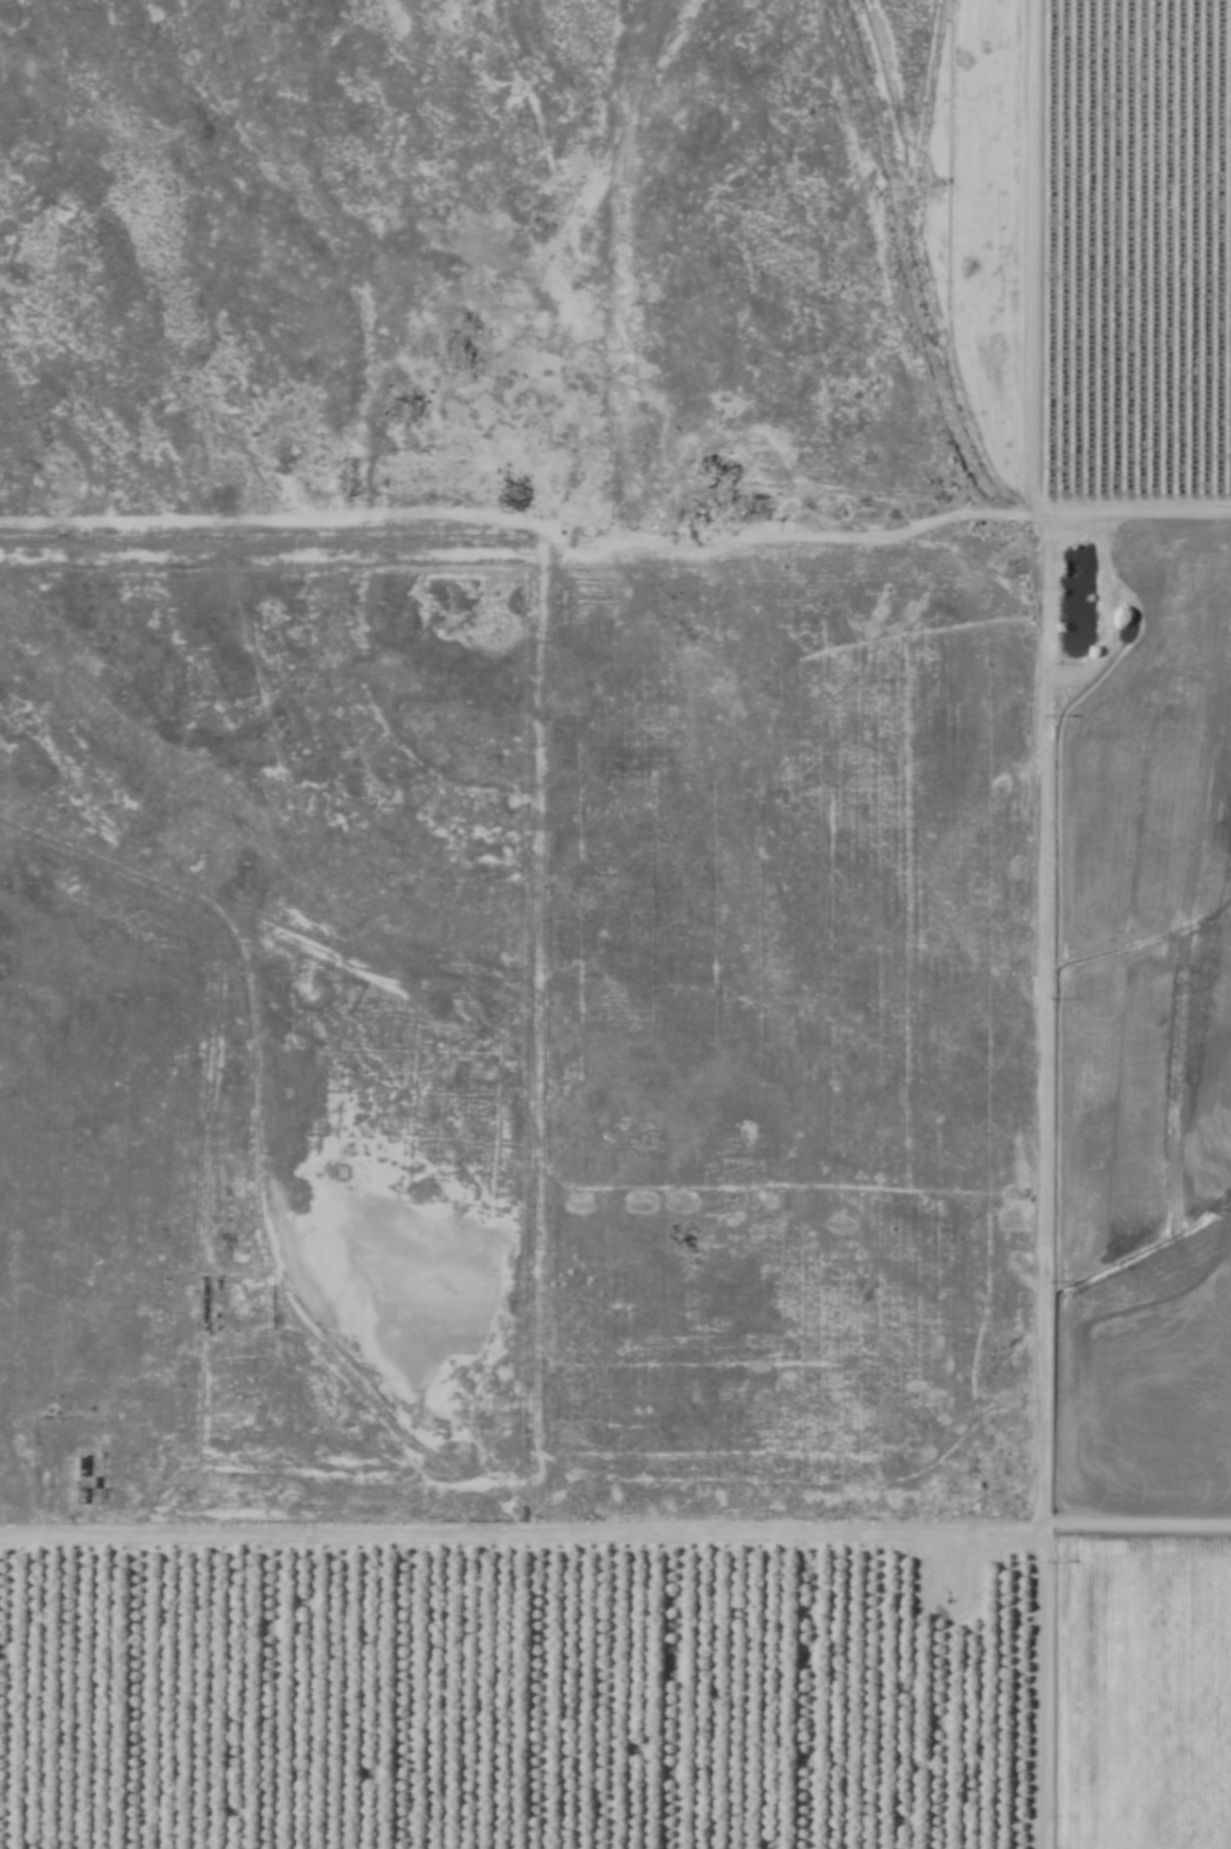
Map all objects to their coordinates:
road: (1132, 591)
road: (1032, 924)
road: (515, 1462)
building: (80, 1481)

